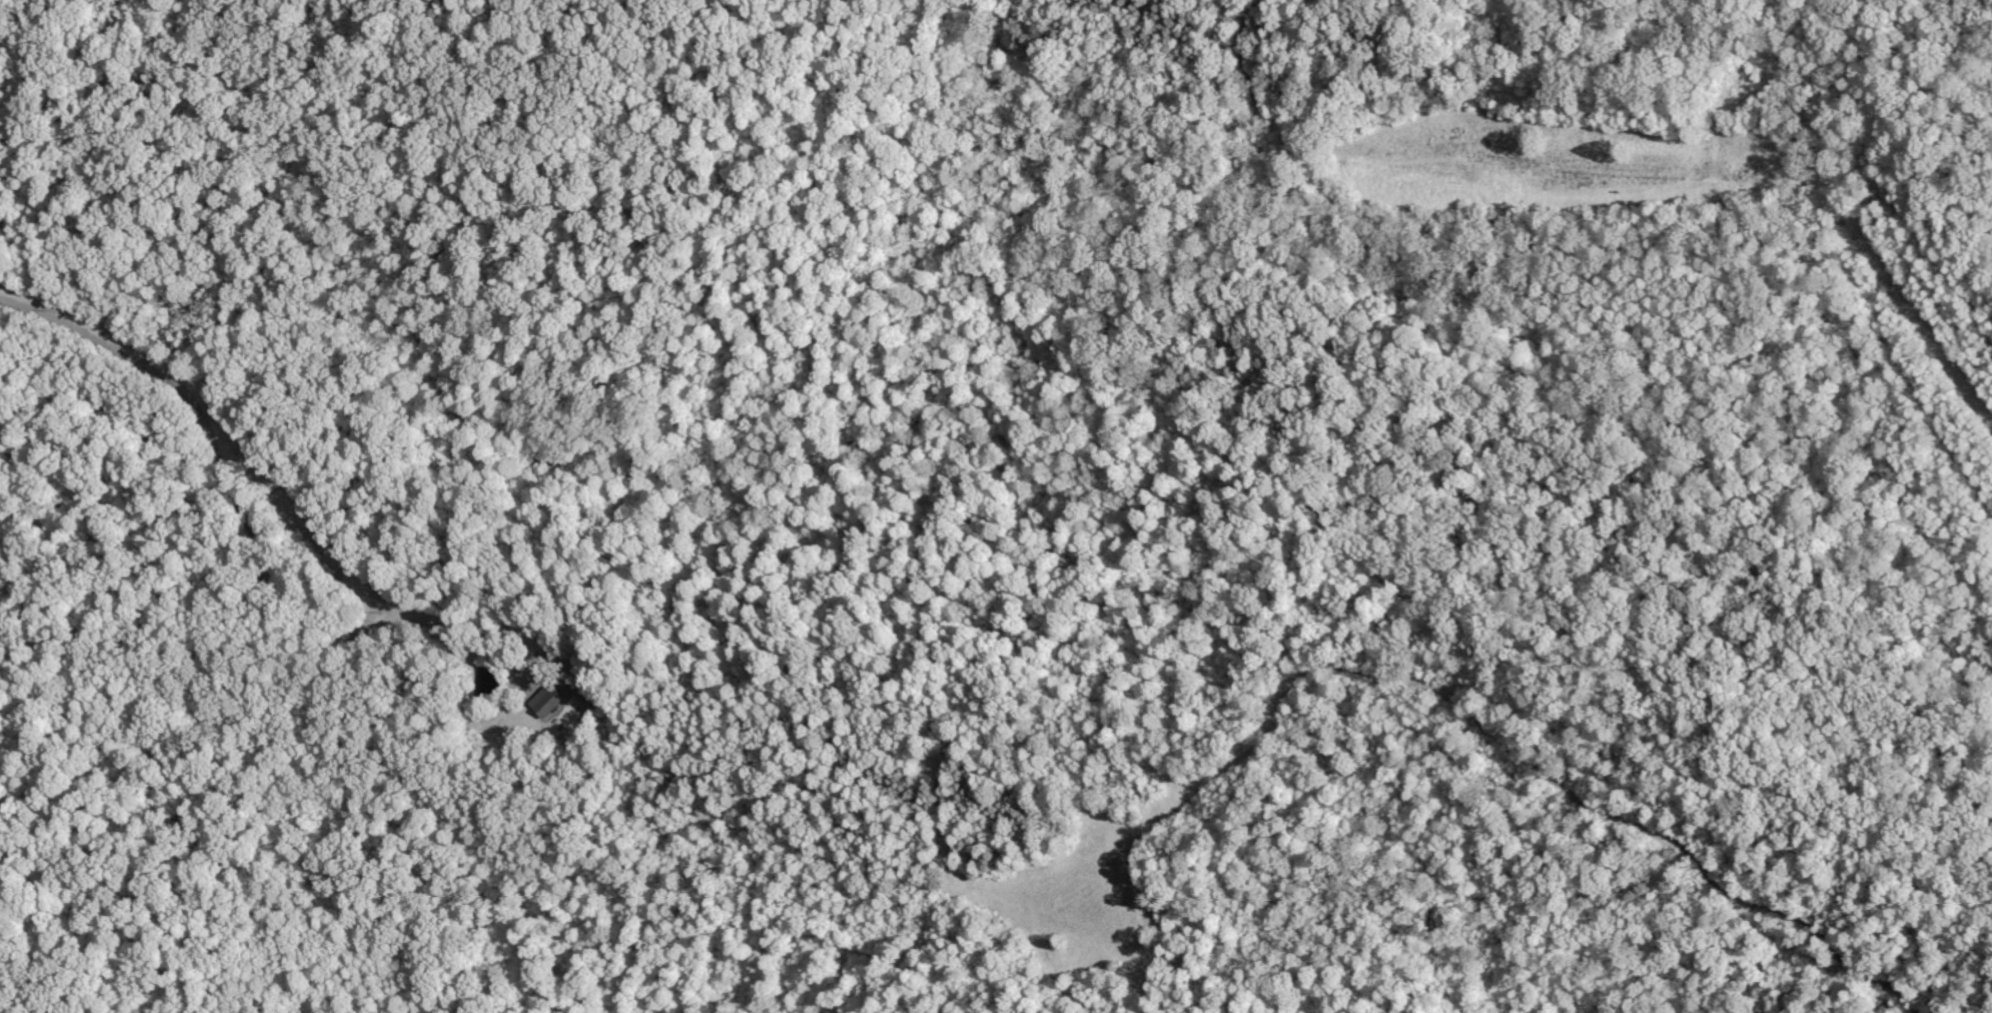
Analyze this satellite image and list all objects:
building: (547, 700)

